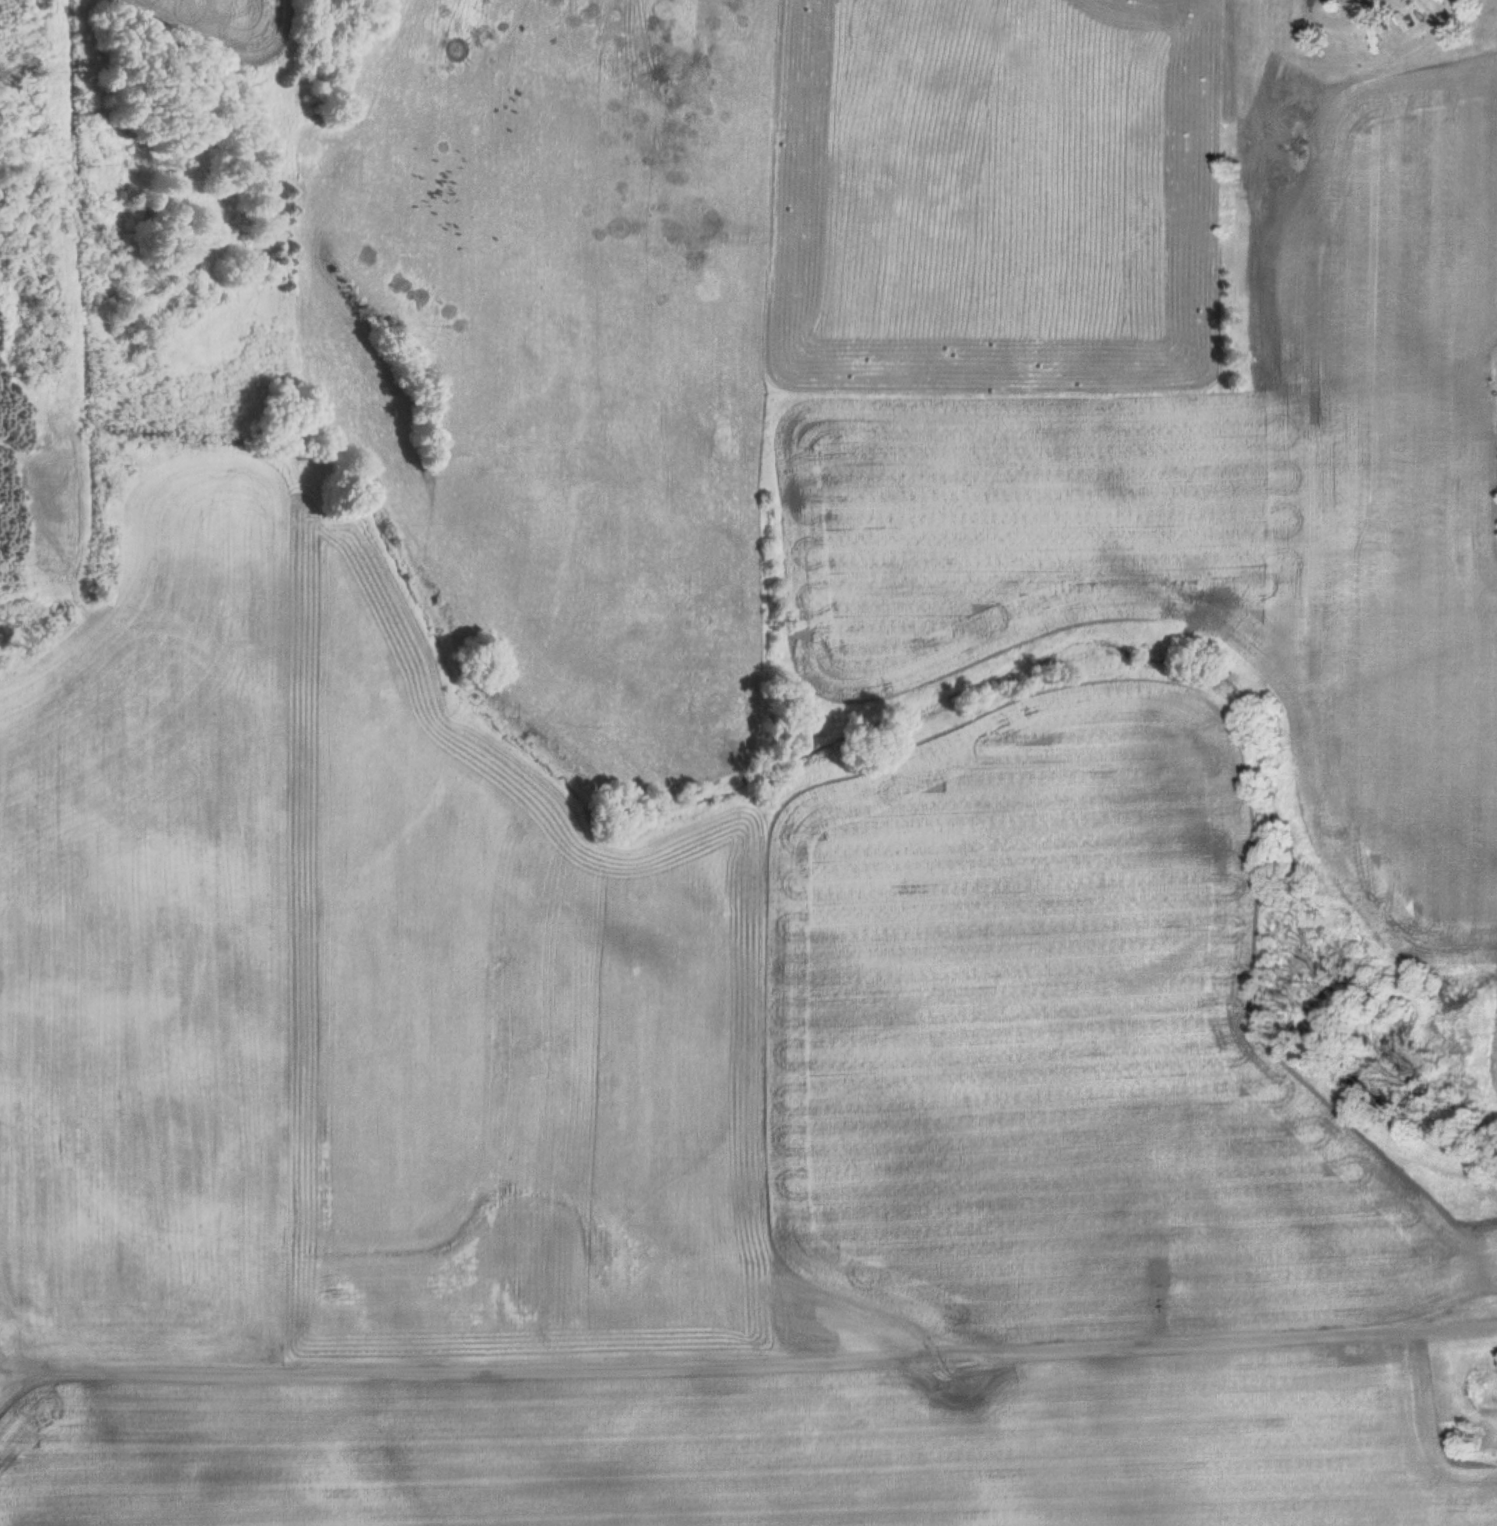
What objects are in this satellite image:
road: (1338, 22)

